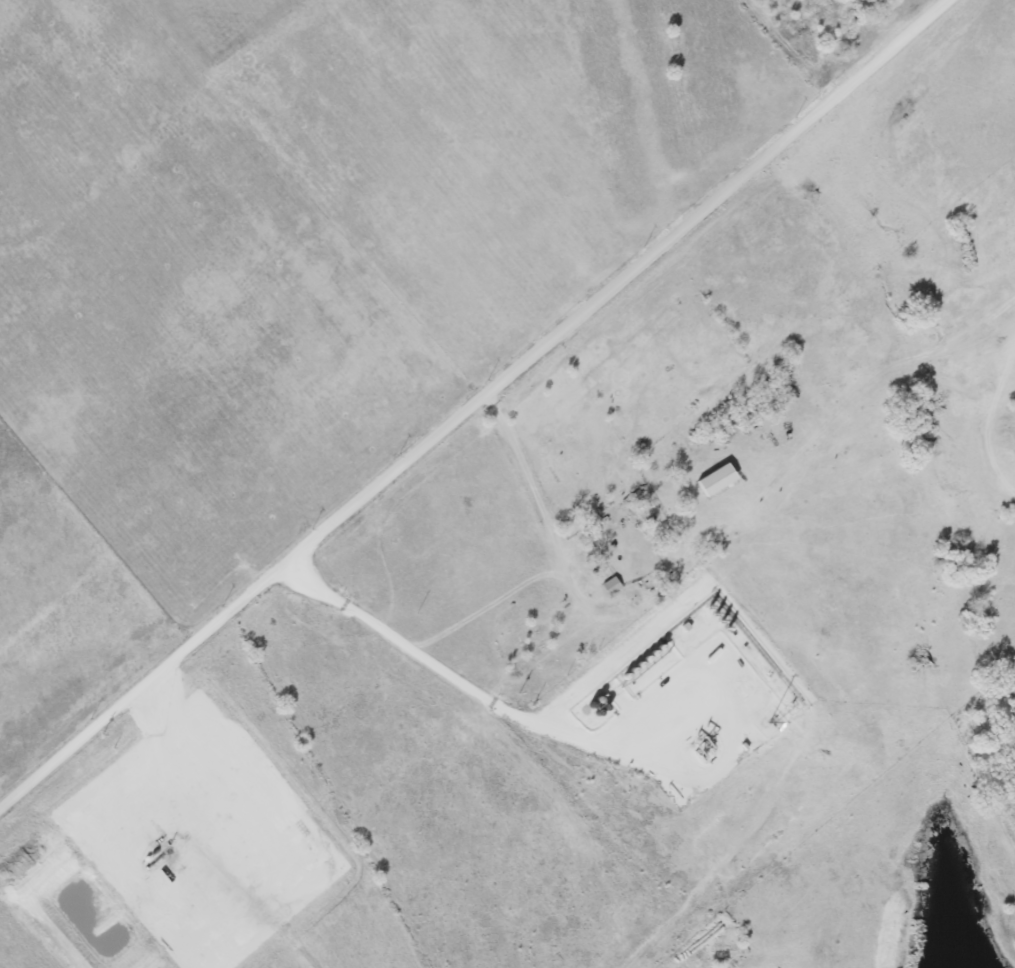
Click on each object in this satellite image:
road: (473, 404)
building: (716, 480)
road: (429, 651)
petroleum well: (699, 737)

